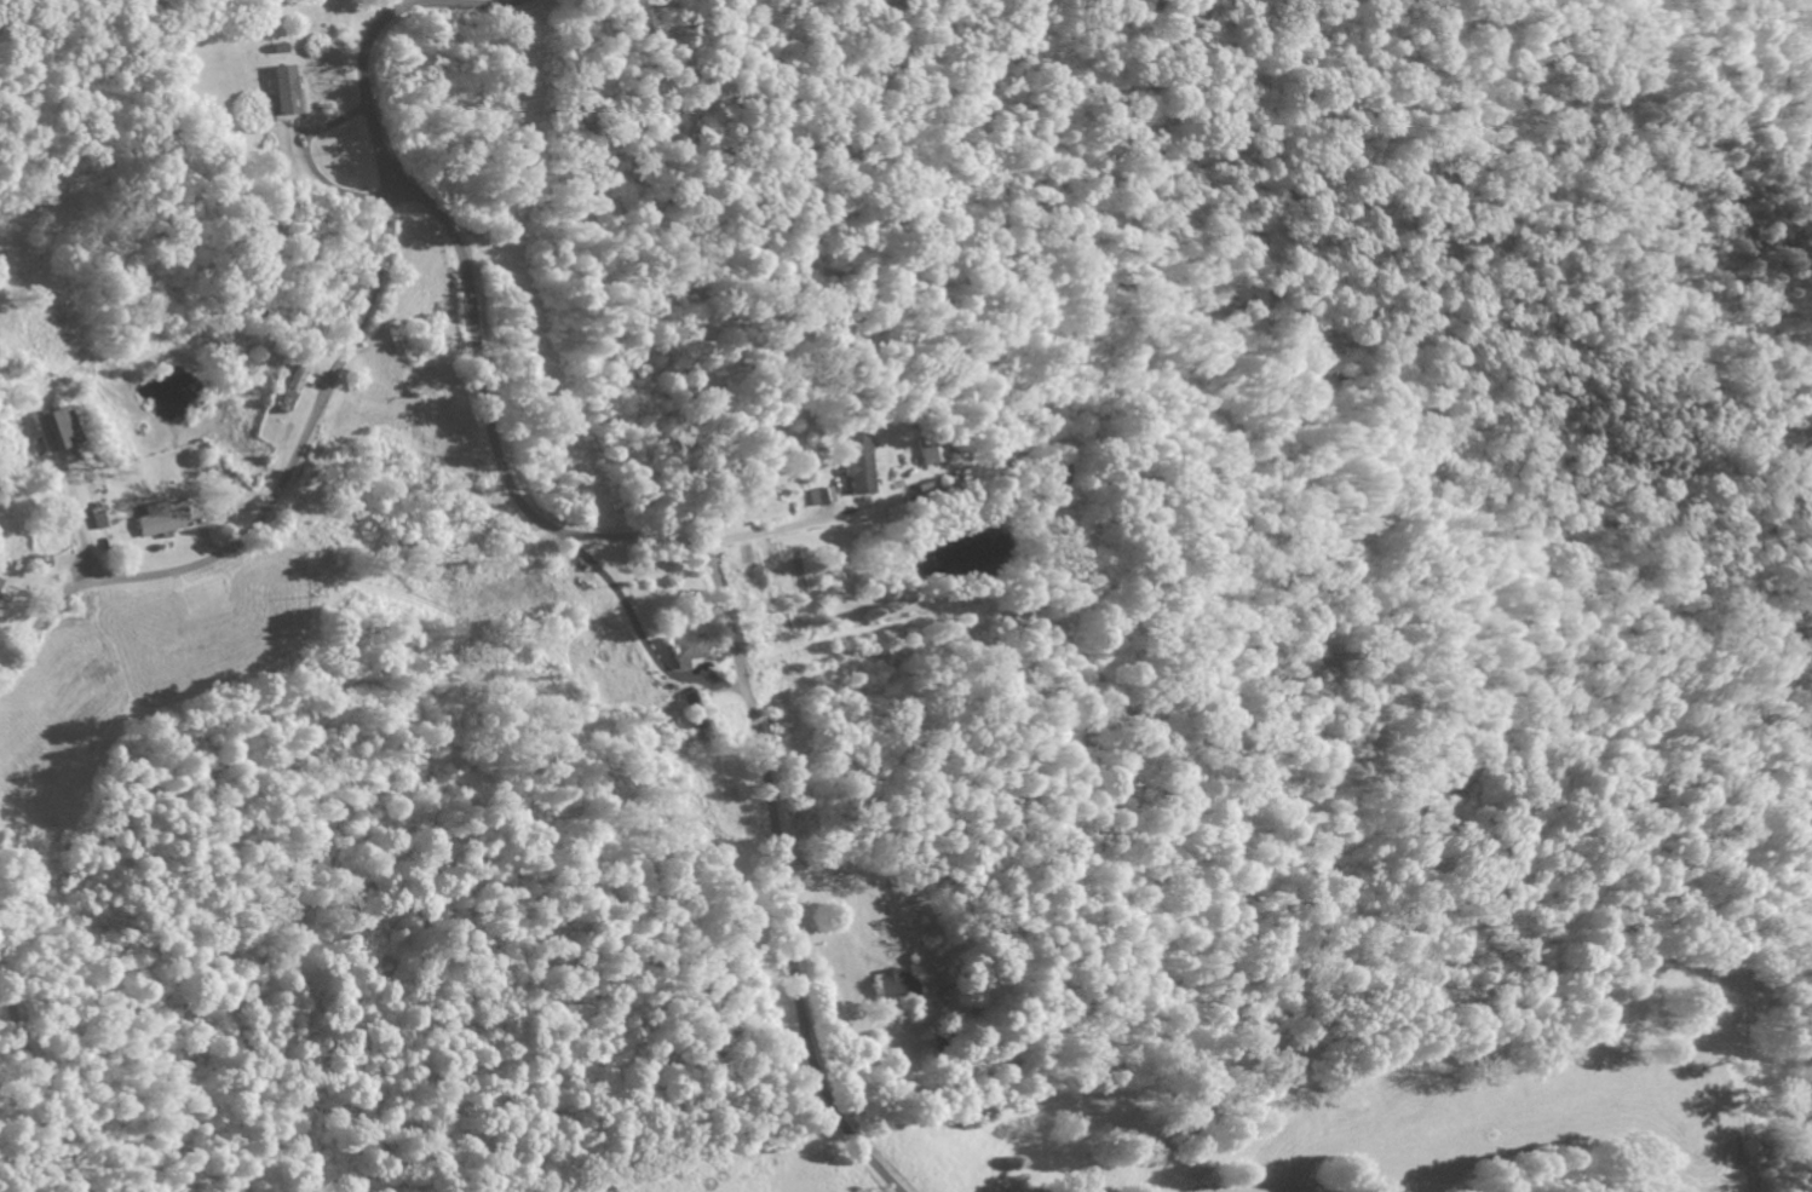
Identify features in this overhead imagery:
road: (403, 4)
building: (284, 90)
road: (338, 365)
building: (57, 428)
building: (931, 450)
building: (859, 461)
road: (104, 467)
building: (826, 495)
building: (100, 516)
building: (161, 520)
building: (0, 581)
road: (724, 606)
building: (688, 649)
building: (896, 983)
road: (36, 1083)

